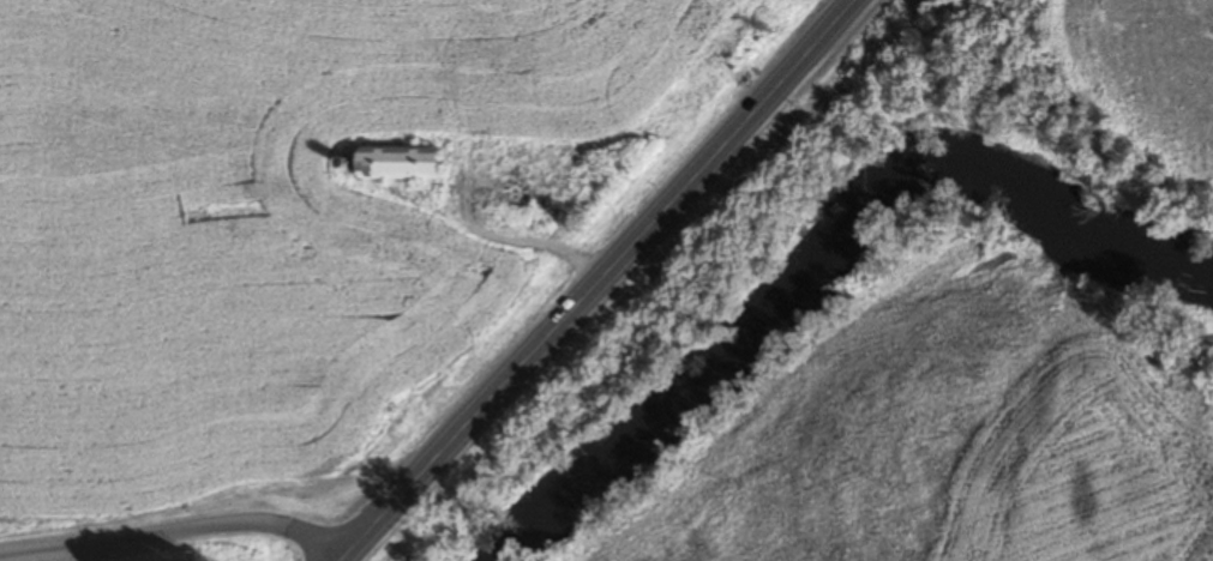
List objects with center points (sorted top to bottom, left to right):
building: (394, 163)
building: (562, 185)
river: (823, 245)
road: (596, 280)
road: (175, 531)

